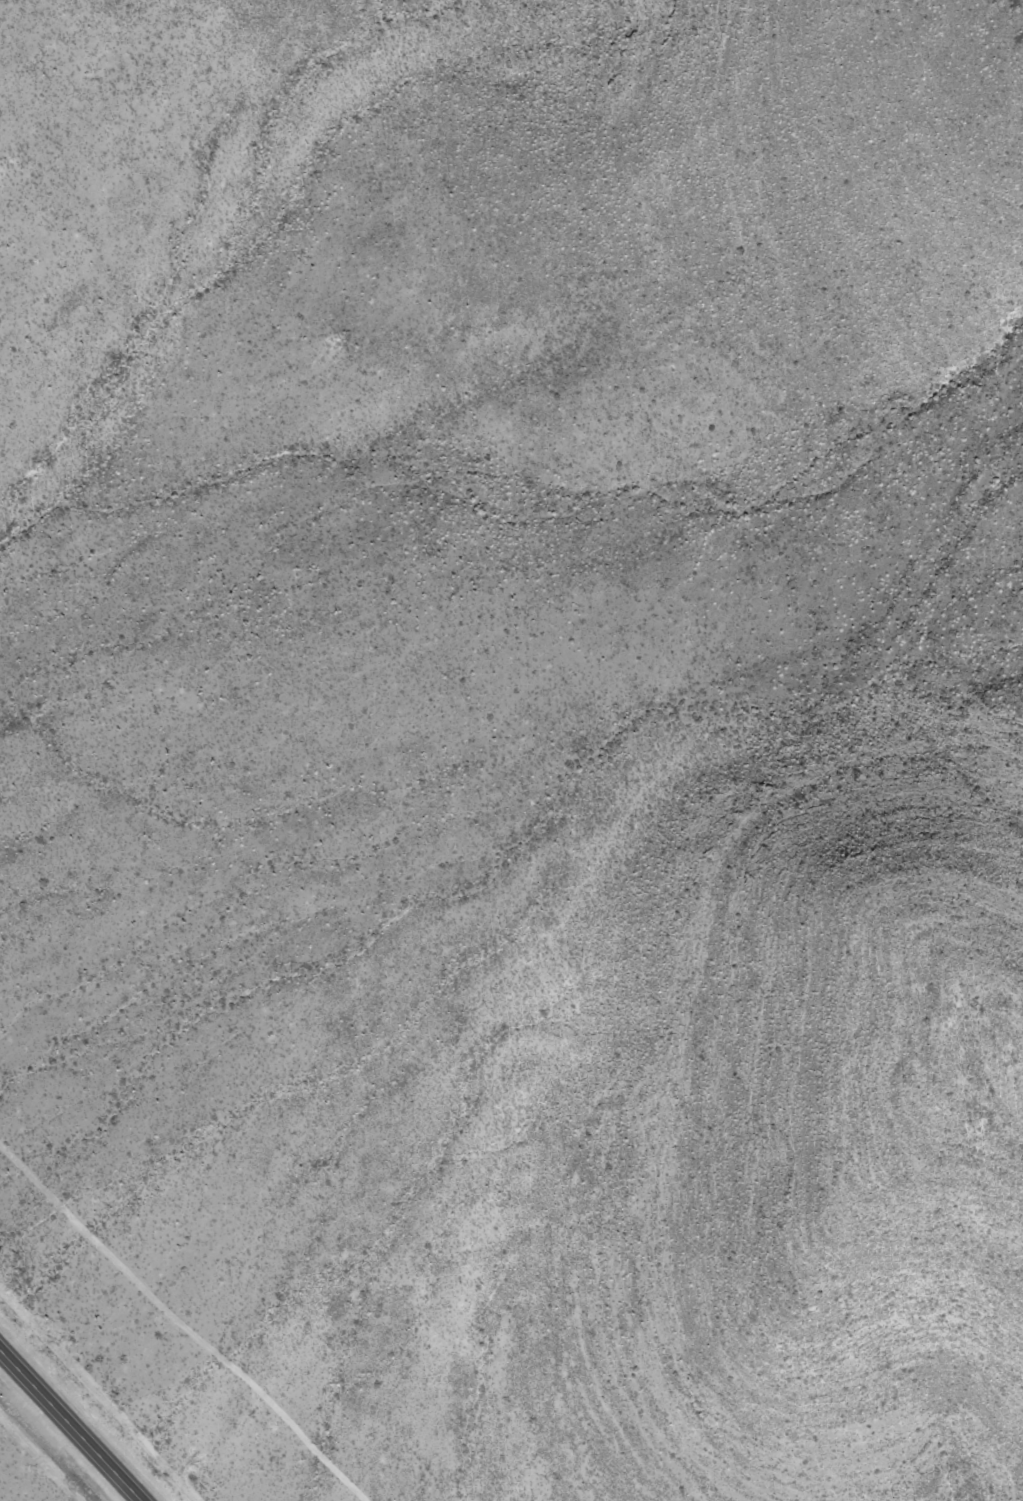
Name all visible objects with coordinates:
road: (76, 1419)

